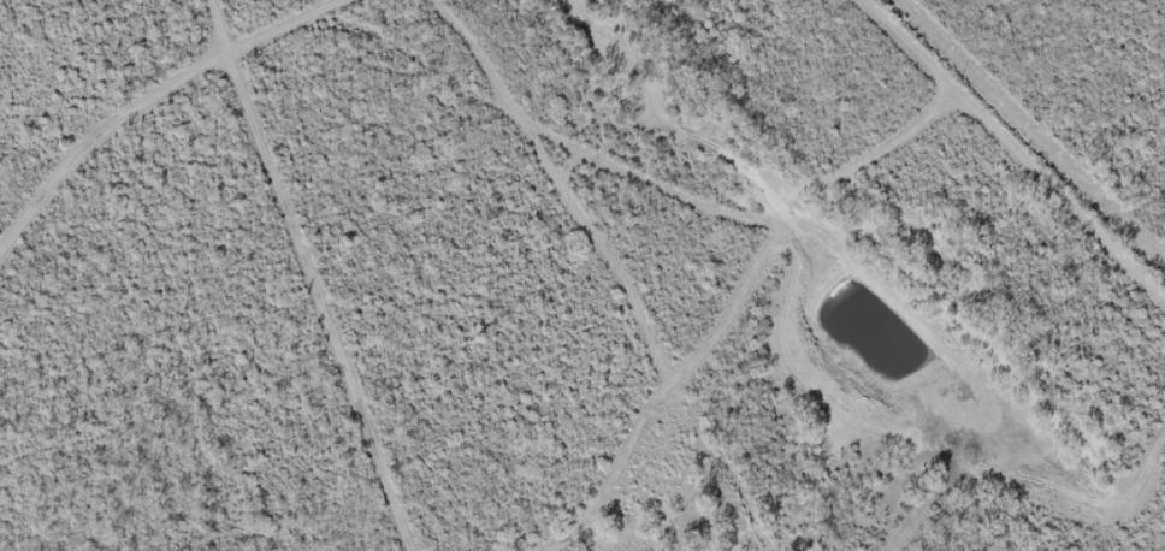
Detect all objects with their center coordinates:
road: (913, 49)
road: (869, 78)
road: (141, 99)
road: (1042, 118)
road: (798, 150)

